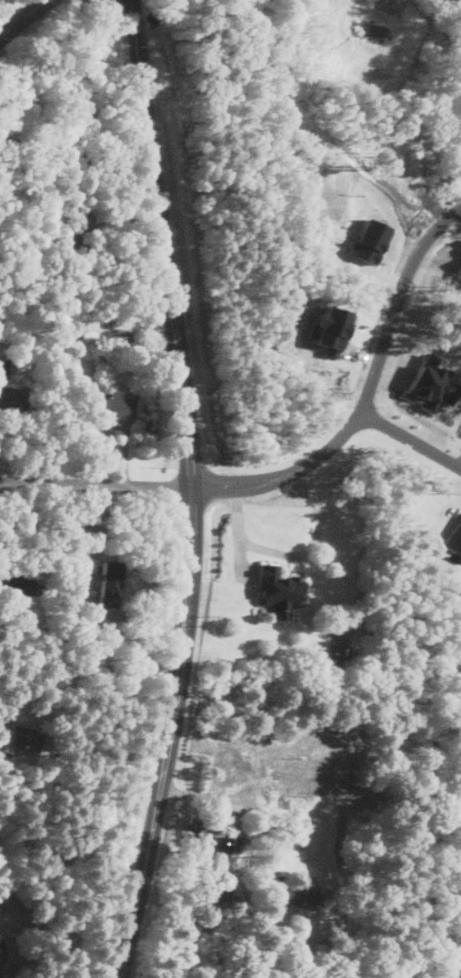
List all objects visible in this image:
crop: (158, 3)
park: (5, 5)
road: (22, 18)
building: (35, 191)
building: (74, 230)
building: (458, 269)
building: (329, 328)
building: (82, 333)
building: (127, 339)
building: (430, 383)
road: (185, 392)
road: (370, 397)
building: (12, 400)
building: (111, 404)
road: (414, 438)
road: (93, 483)
road: (55, 536)
building: (454, 538)
road: (291, 553)
building: (109, 581)
building: (17, 586)
building: (279, 591)
building: (0, 637)
building: (338, 654)
building: (41, 688)
building: (27, 737)
road: (234, 797)
building: (209, 836)
road: (139, 882)
building: (288, 891)
building: (312, 893)
building: (0, 971)

